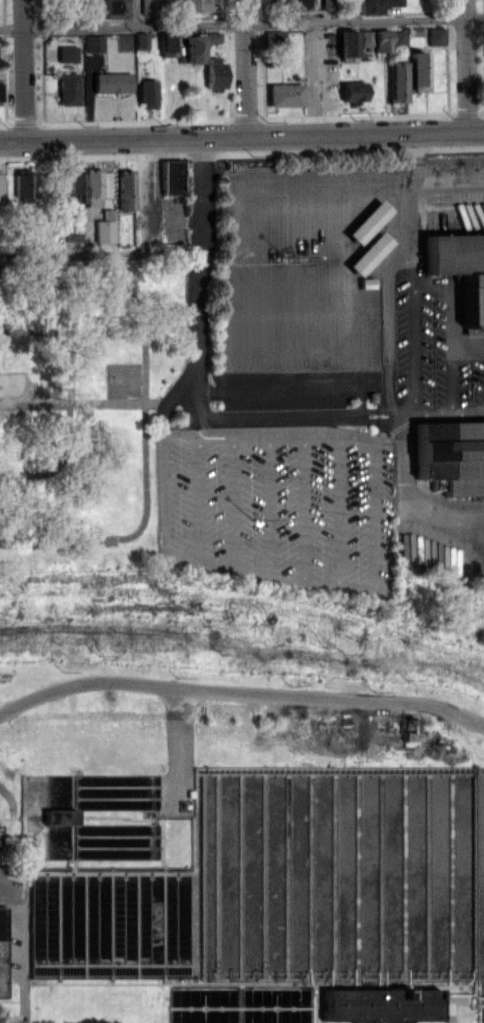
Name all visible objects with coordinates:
building: (193, 5)
building: (379, 6)
building: (114, 9)
road: (356, 10)
road: (136, 12)
road: (241, 23)
building: (437, 35)
building: (212, 36)
building: (367, 37)
building: (399, 38)
building: (141, 40)
building: (382, 40)
building: (165, 42)
building: (93, 43)
building: (348, 43)
building: (193, 47)
building: (67, 53)
road: (450, 65)
road: (472, 65)
road: (267, 67)
road: (228, 68)
road: (246, 68)
road: (6, 70)
road: (23, 70)
road: (43, 70)
building: (417, 71)
building: (215, 73)
road: (315, 78)
building: (398, 81)
building: (111, 82)
building: (67, 88)
building: (146, 92)
building: (354, 92)
building: (285, 94)
road: (241, 136)
building: (172, 178)
building: (71, 187)
building: (90, 187)
building: (22, 188)
building: (124, 189)
building: (369, 220)
building: (103, 226)
building: (461, 250)
building: (369, 252)
road: (137, 264)
road: (407, 265)
road: (388, 270)
building: (367, 281)
road: (453, 312)
road: (143, 335)
road: (415, 345)
road: (452, 374)
road: (442, 411)
road: (254, 412)
building: (451, 449)
road: (240, 693)
road: (174, 744)
wastewater plant: (239, 847)
building: (1, 951)
road: (18, 955)
road: (467, 998)
building: (380, 1004)
road: (470, 1005)
road: (449, 1010)

